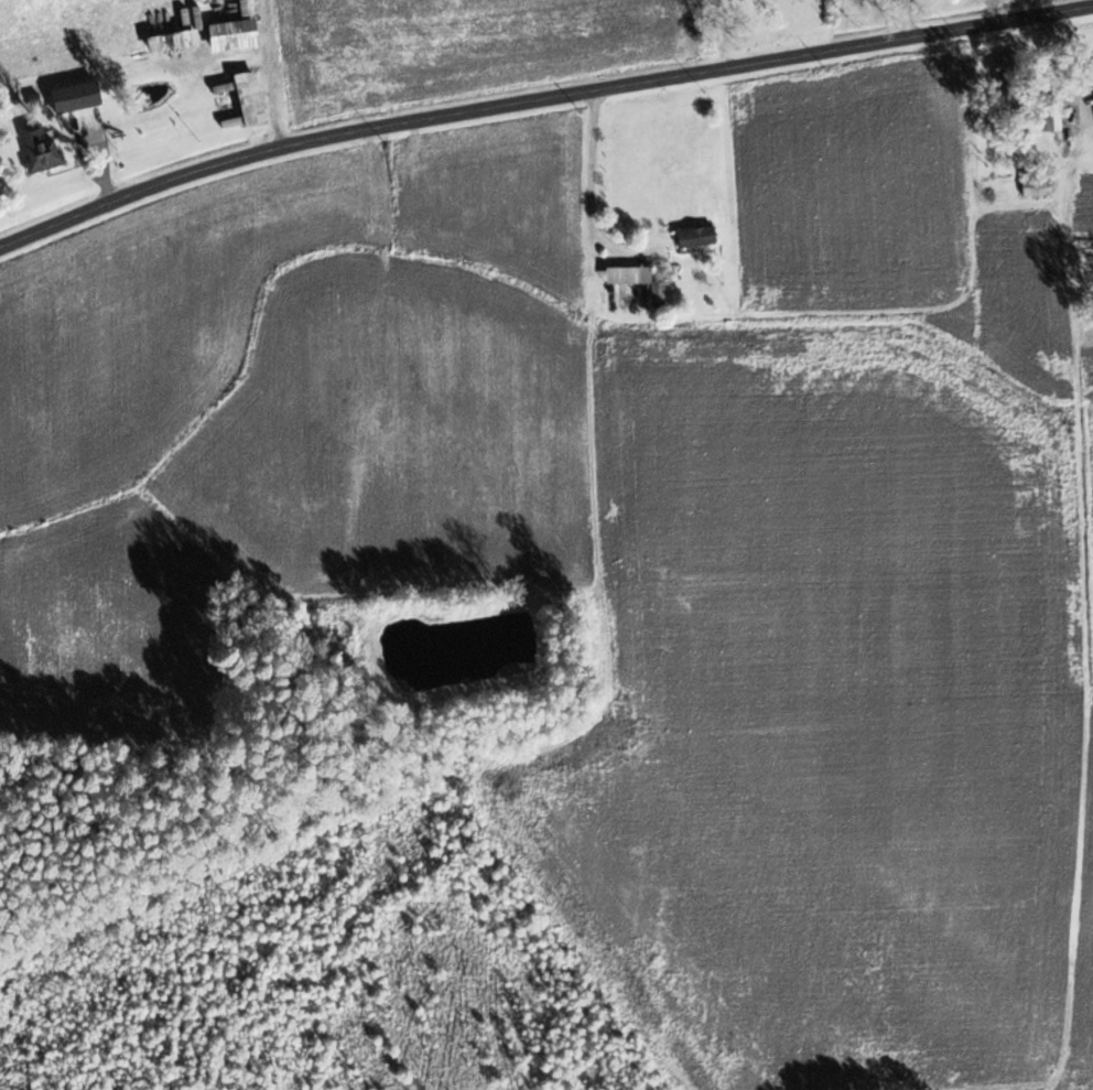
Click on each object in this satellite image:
building: (178, 33)
building: (231, 35)
building: (1092, 63)
building: (1010, 82)
road: (539, 93)
building: (75, 97)
building: (250, 99)
building: (1052, 115)
building: (41, 144)
road: (584, 184)
building: (1038, 185)
building: (1052, 222)
building: (697, 236)
building: (628, 274)

